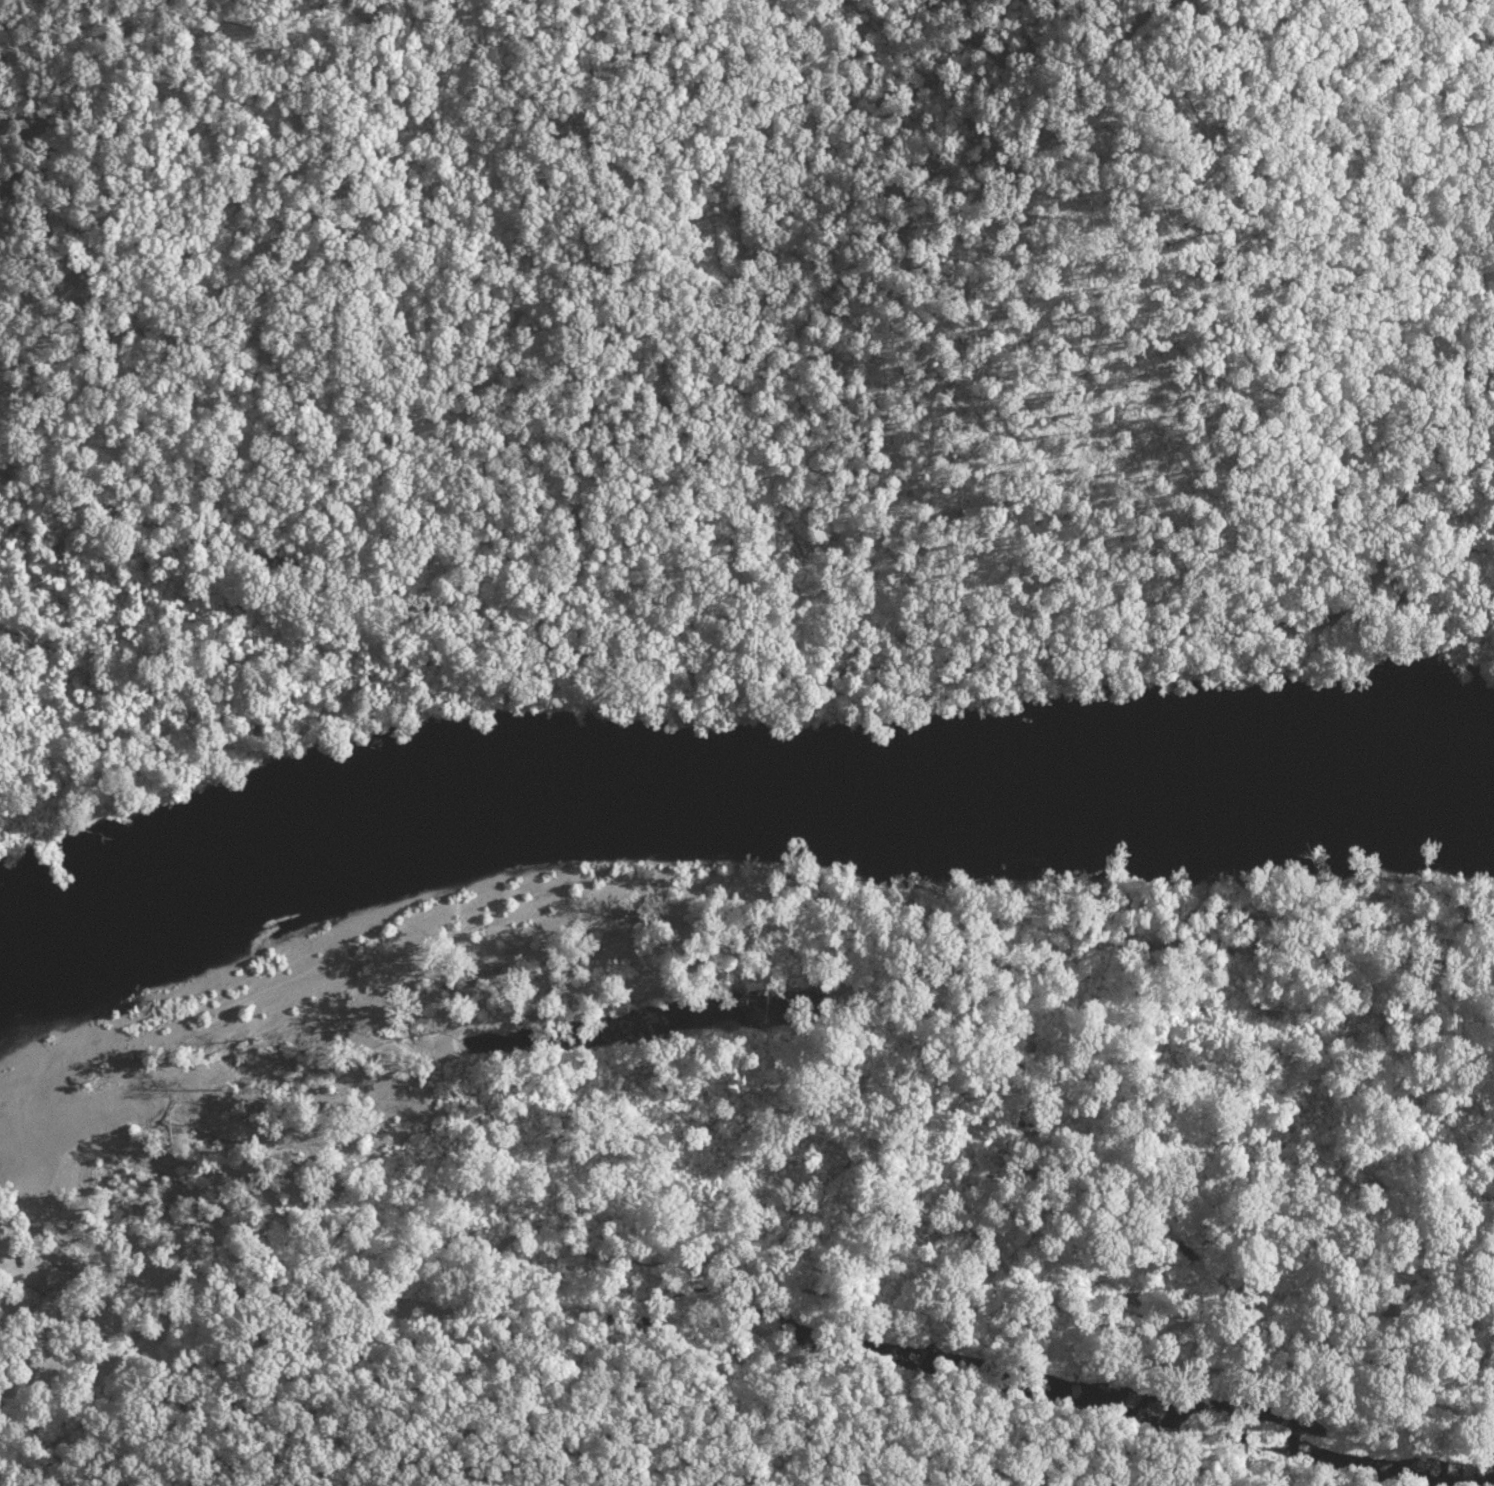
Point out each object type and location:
road: (1436, 567)
road: (674, 650)
river: (735, 792)

